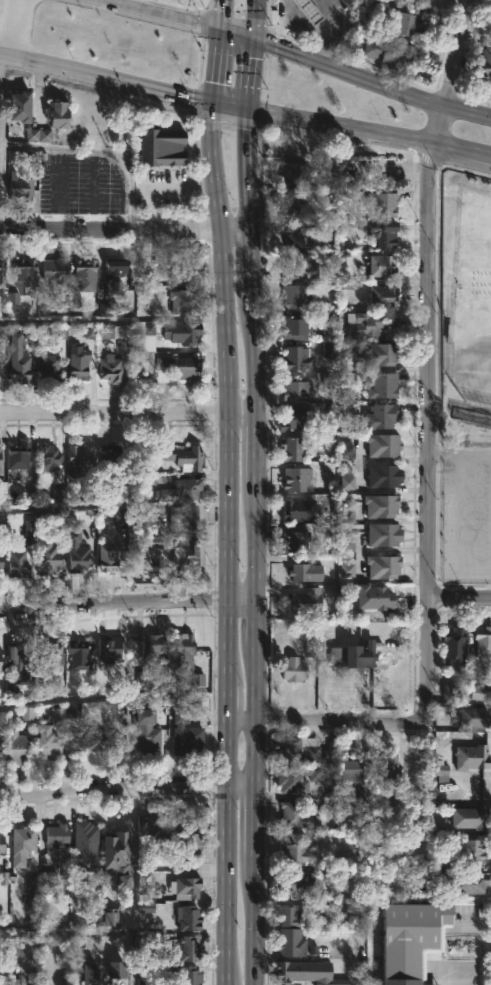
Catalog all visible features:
building: (419, 1)
building: (373, 4)
road: (127, 5)
building: (310, 10)
building: (314, 24)
building: (409, 25)
road: (14, 28)
road: (326, 29)
traffic signals: (225, 37)
traffic signals: (255, 44)
building: (394, 54)
road: (287, 55)
building: (487, 57)
building: (21, 105)
traffic signals: (216, 108)
building: (58, 113)
road: (244, 113)
traffic signals: (247, 114)
building: (162, 146)
building: (297, 174)
building: (20, 188)
road: (153, 192)
road: (61, 194)
road: (92, 195)
building: (383, 204)
building: (300, 208)
road: (235, 226)
road: (110, 227)
building: (297, 232)
building: (383, 233)
building: (299, 266)
building: (383, 266)
building: (55, 269)
building: (187, 270)
building: (2, 272)
building: (26, 273)
building: (86, 274)
building: (116, 278)
road: (427, 295)
building: (295, 297)
building: (386, 297)
road: (226, 298)
park: (466, 300)
building: (186, 301)
road: (51, 320)
building: (371, 323)
building: (297, 326)
building: (113, 331)
building: (183, 333)
building: (383, 354)
building: (0, 357)
building: (299, 358)
road: (261, 359)
building: (19, 360)
building: (78, 362)
building: (187, 367)
building: (49, 368)
building: (111, 369)
building: (384, 385)
building: (295, 389)
road: (115, 413)
road: (245, 414)
building: (383, 416)
building: (298, 418)
building: (385, 445)
building: (293, 449)
road: (458, 452)
building: (109, 455)
building: (18, 456)
building: (48, 458)
building: (190, 459)
building: (0, 460)
building: (77, 461)
building: (385, 475)
building: (298, 479)
building: (182, 491)
building: (382, 506)
building: (301, 511)
road: (73, 515)
building: (185, 519)
building: (385, 534)
building: (296, 542)
building: (148, 552)
building: (187, 553)
building: (78, 554)
building: (109, 557)
building: (49, 558)
building: (17, 562)
building: (1, 563)
building: (383, 567)
building: (302, 573)
road: (459, 596)
road: (245, 597)
building: (375, 597)
road: (114, 602)
road: (229, 639)
building: (454, 642)
building: (484, 642)
building: (155, 646)
building: (109, 649)
building: (185, 650)
building: (81, 654)
road: (425, 655)
building: (355, 656)
building: (51, 658)
building: (1, 660)
building: (17, 667)
building: (296, 670)
building: (455, 691)
building: (480, 693)
road: (114, 696)
road: (229, 701)
building: (73, 716)
building: (476, 716)
road: (245, 721)
road: (344, 722)
building: (148, 734)
building: (186, 736)
building: (96, 740)
building: (49, 741)
building: (16, 746)
building: (301, 750)
road: (228, 752)
road: (261, 752)
building: (1, 754)
building: (473, 756)
building: (388, 767)
building: (352, 770)
building: (298, 777)
road: (244, 783)
road: (114, 794)
building: (296, 815)
building: (471, 816)
building: (147, 825)
building: (58, 834)
building: (86, 837)
building: (2, 843)
building: (190, 845)
building: (22, 846)
building: (297, 849)
building: (473, 849)
building: (118, 858)
building: (460, 879)
building: (295, 880)
road: (228, 884)
road: (261, 884)
building: (145, 887)
building: (185, 888)
road: (134, 889)
building: (291, 914)
building: (189, 919)
road: (67, 933)
building: (415, 938)
building: (292, 941)
building: (190, 948)
building: (118, 971)
building: (292, 971)
building: (91, 974)
building: (188, 976)
building: (339, 981)

